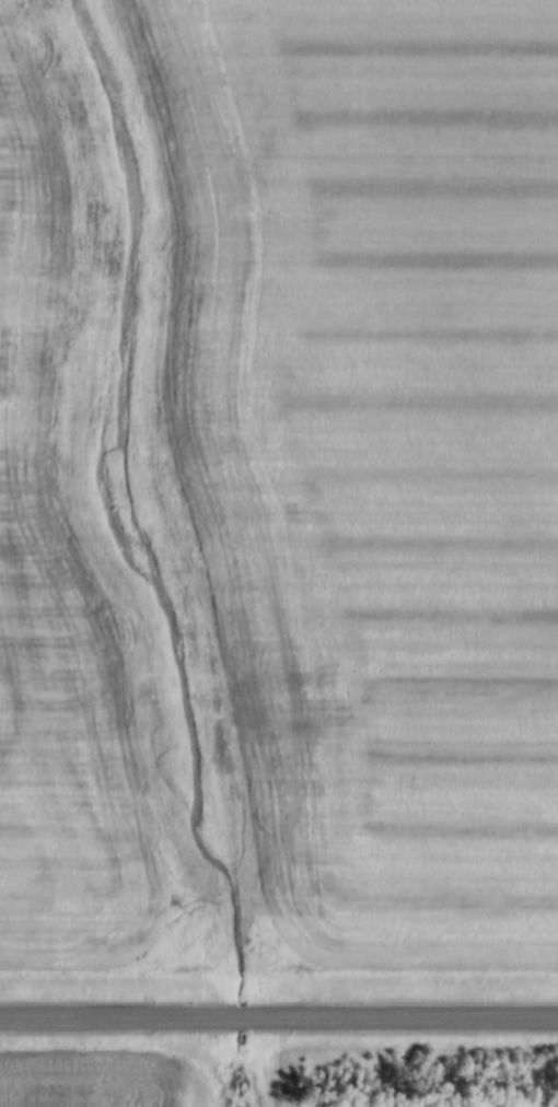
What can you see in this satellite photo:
road: (279, 1023)

